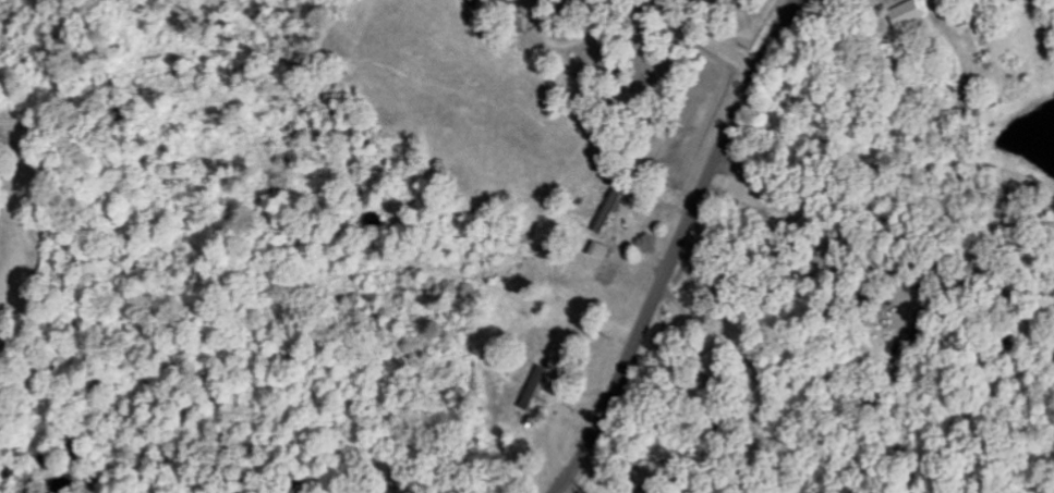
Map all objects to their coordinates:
building: (908, 13)
building: (607, 210)
road: (679, 247)
building: (599, 250)
building: (533, 385)

